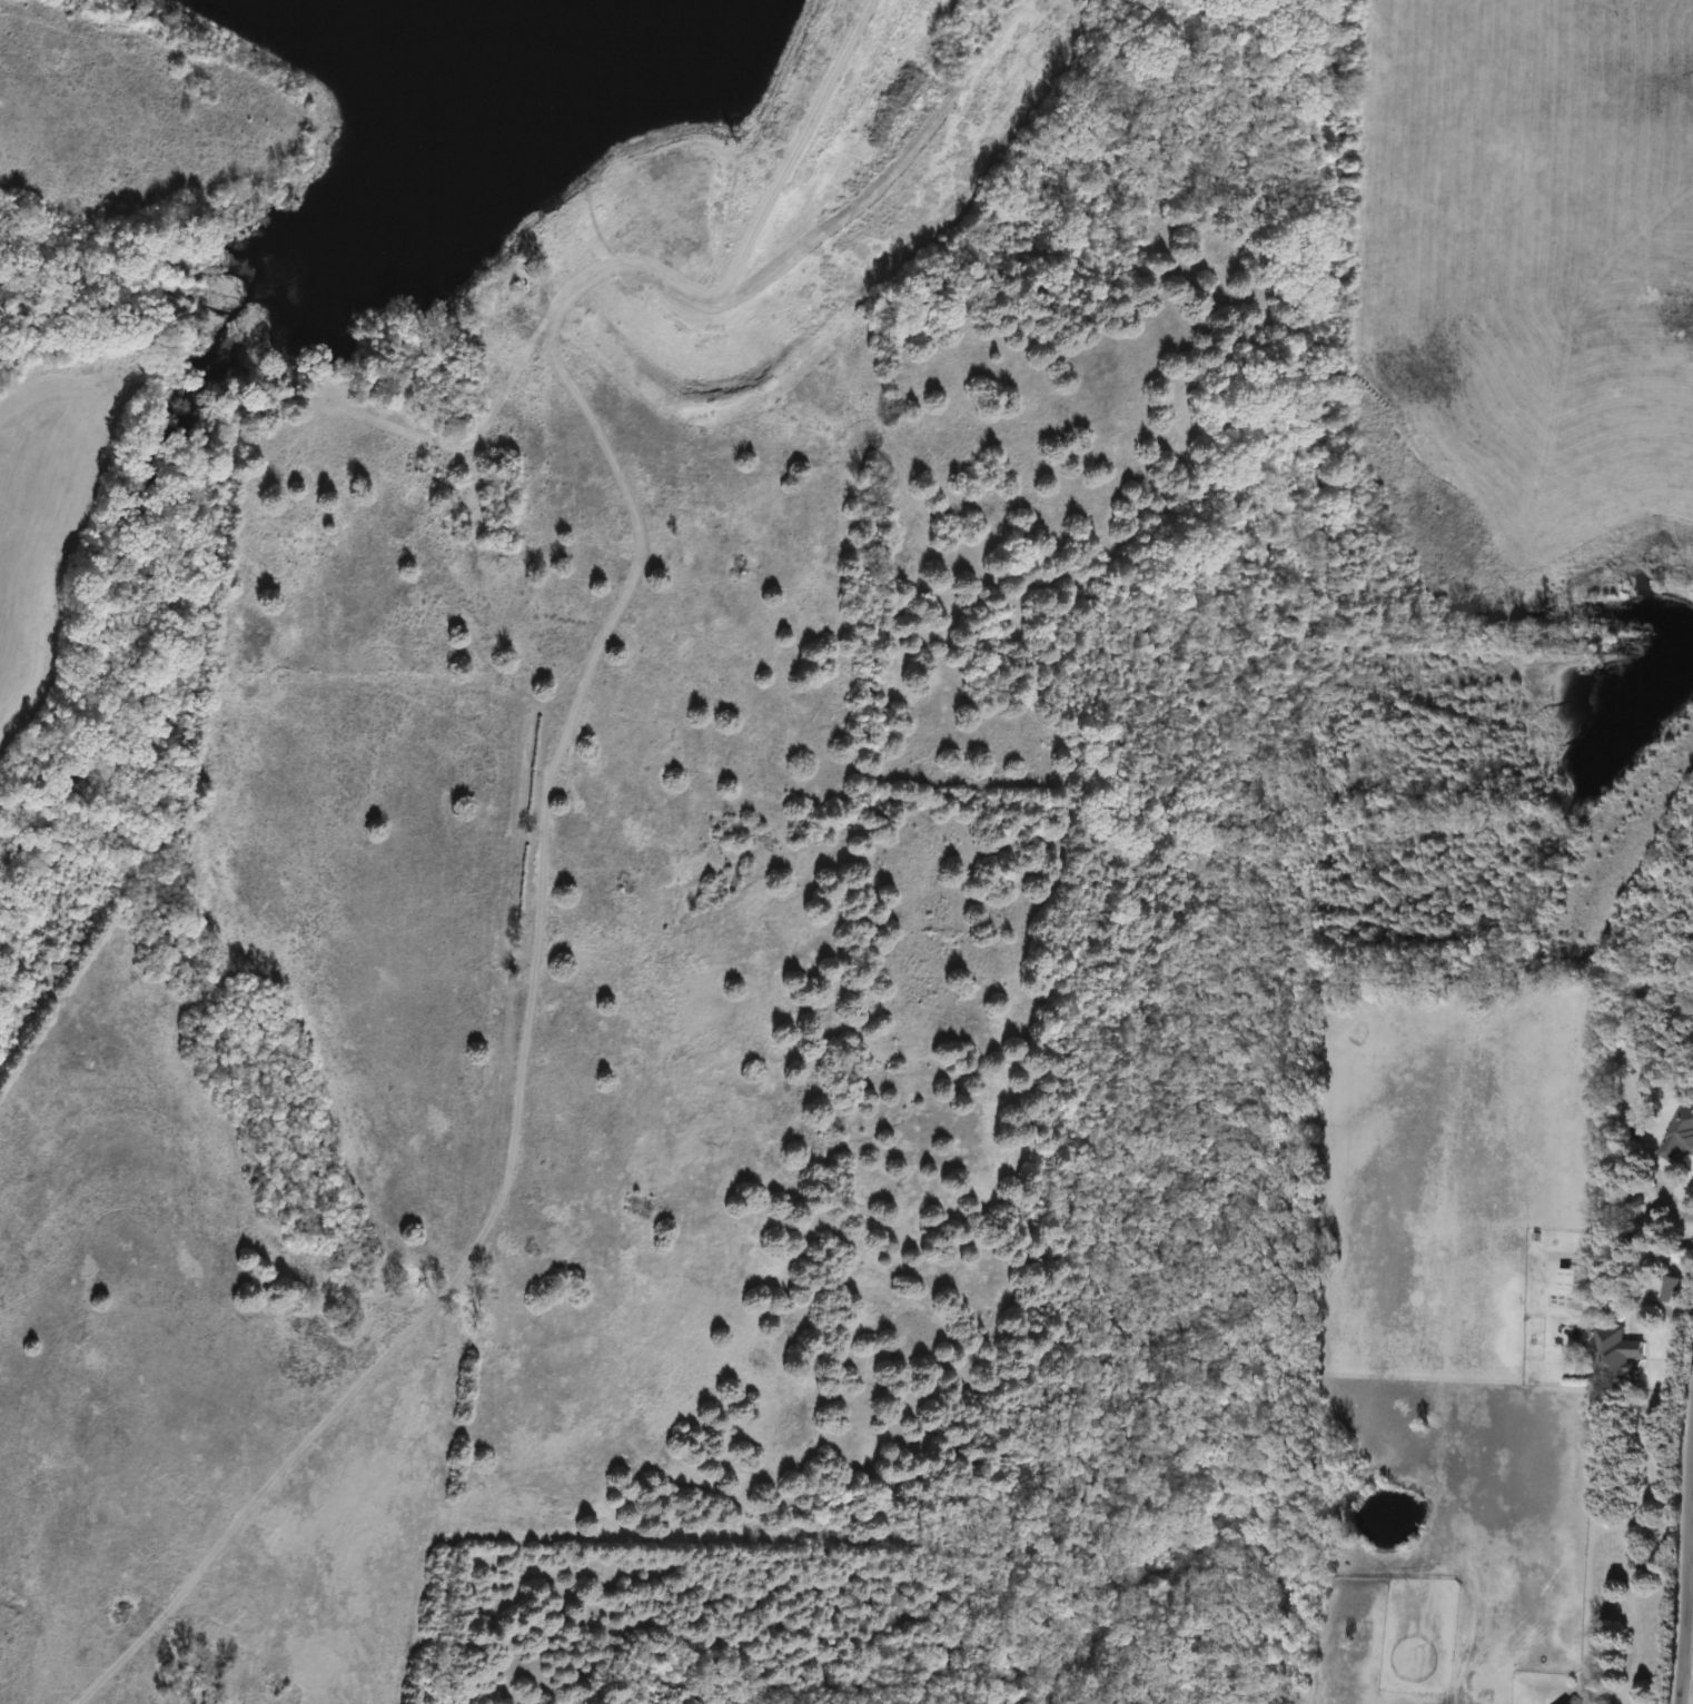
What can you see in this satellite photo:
building: (1677, 1135)
building: (1566, 1278)
building: (1670, 1289)
building: (1617, 1356)
road: (1685, 1559)

